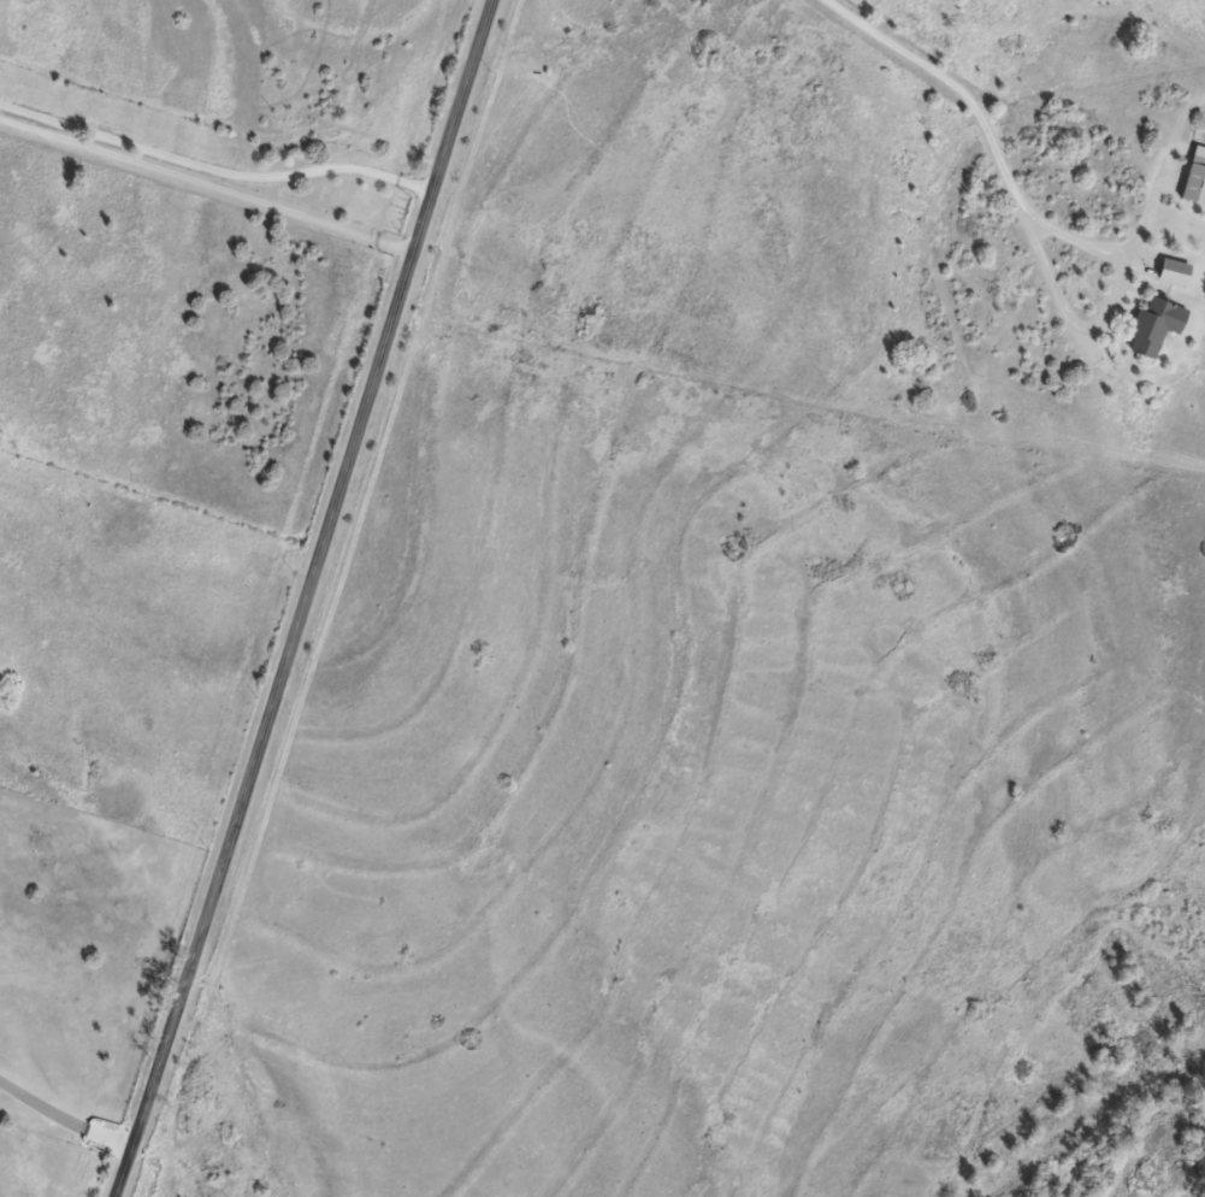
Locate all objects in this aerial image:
road: (213, 169)
building: (1195, 181)
road: (205, 185)
road: (1024, 228)
road: (1075, 235)
building: (1175, 272)
building: (1157, 324)
road: (301, 598)
road: (63, 1119)

